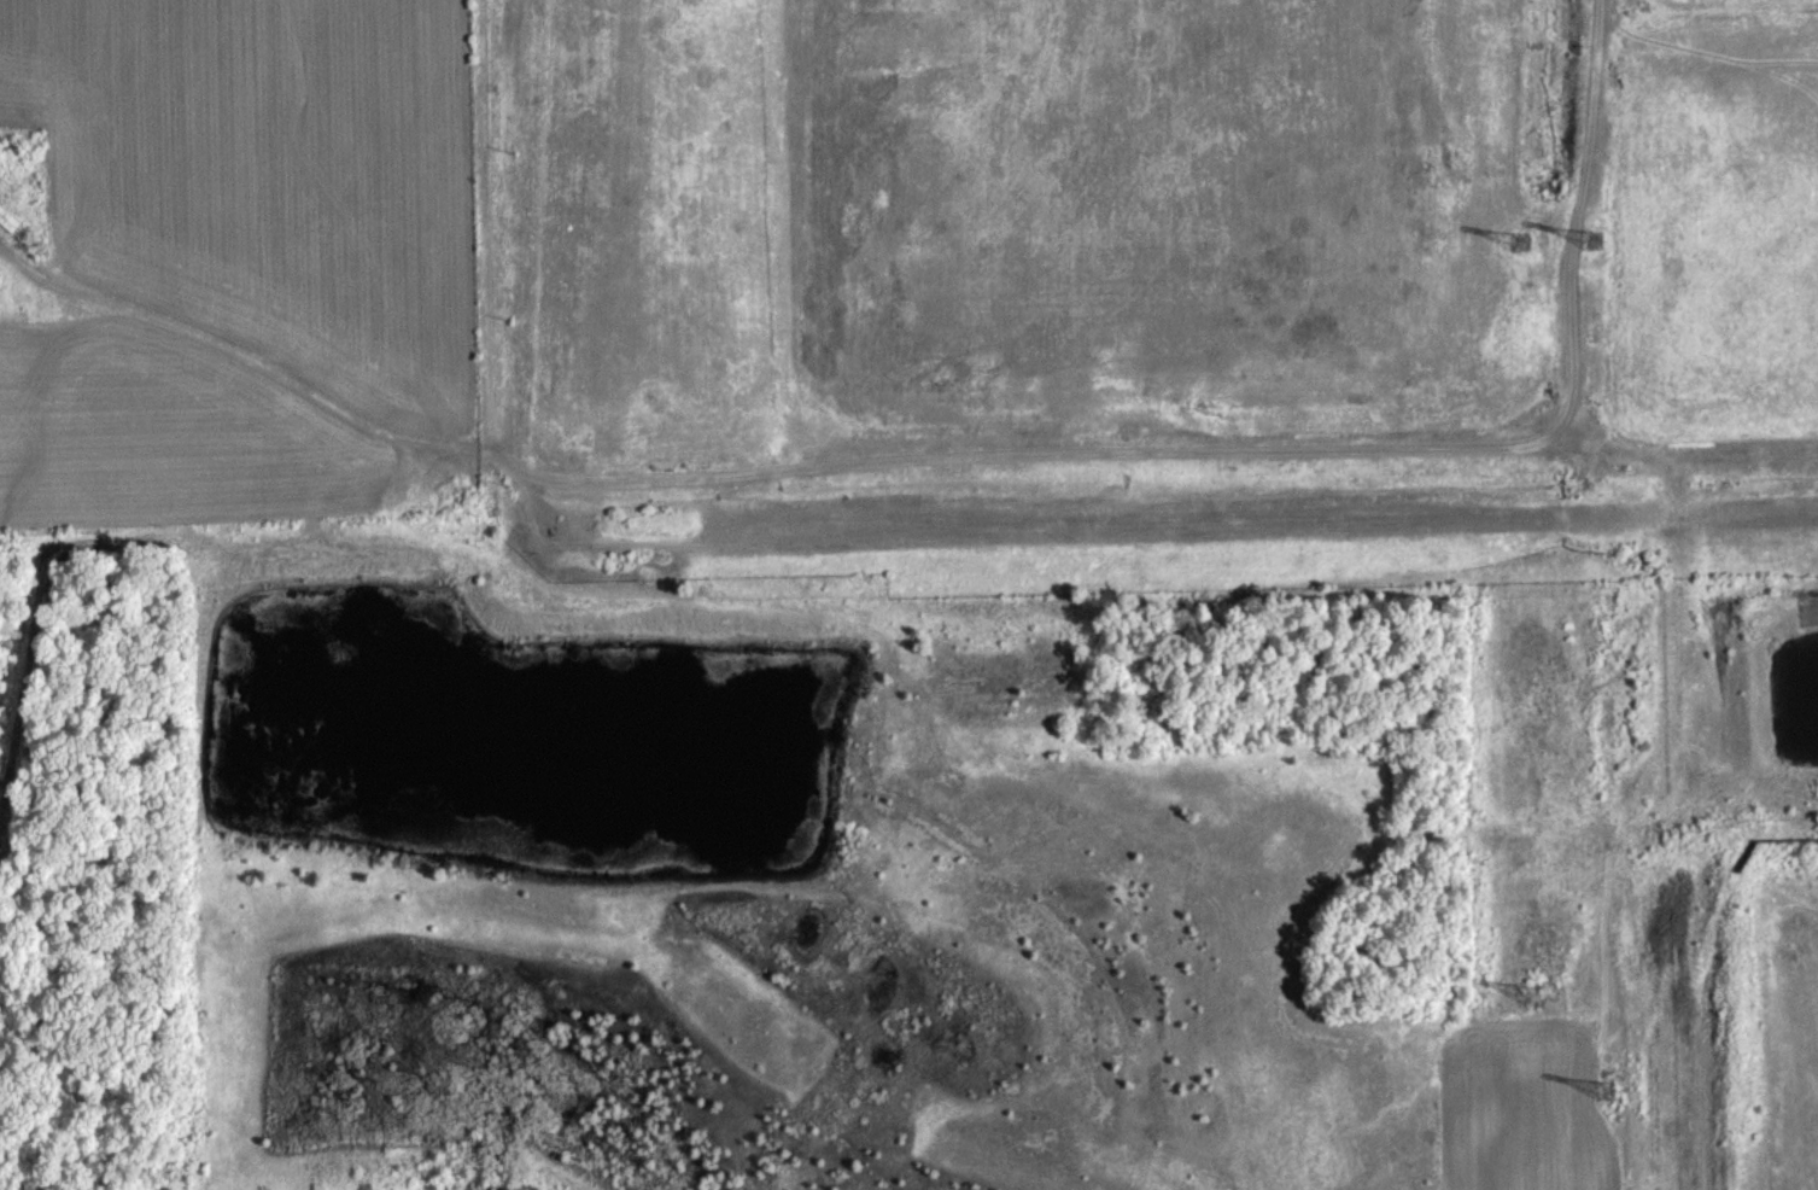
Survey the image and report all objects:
power tower: (1525, 238)
power tower: (1597, 239)
power tower: (1535, 988)
power tower: (1611, 1089)

